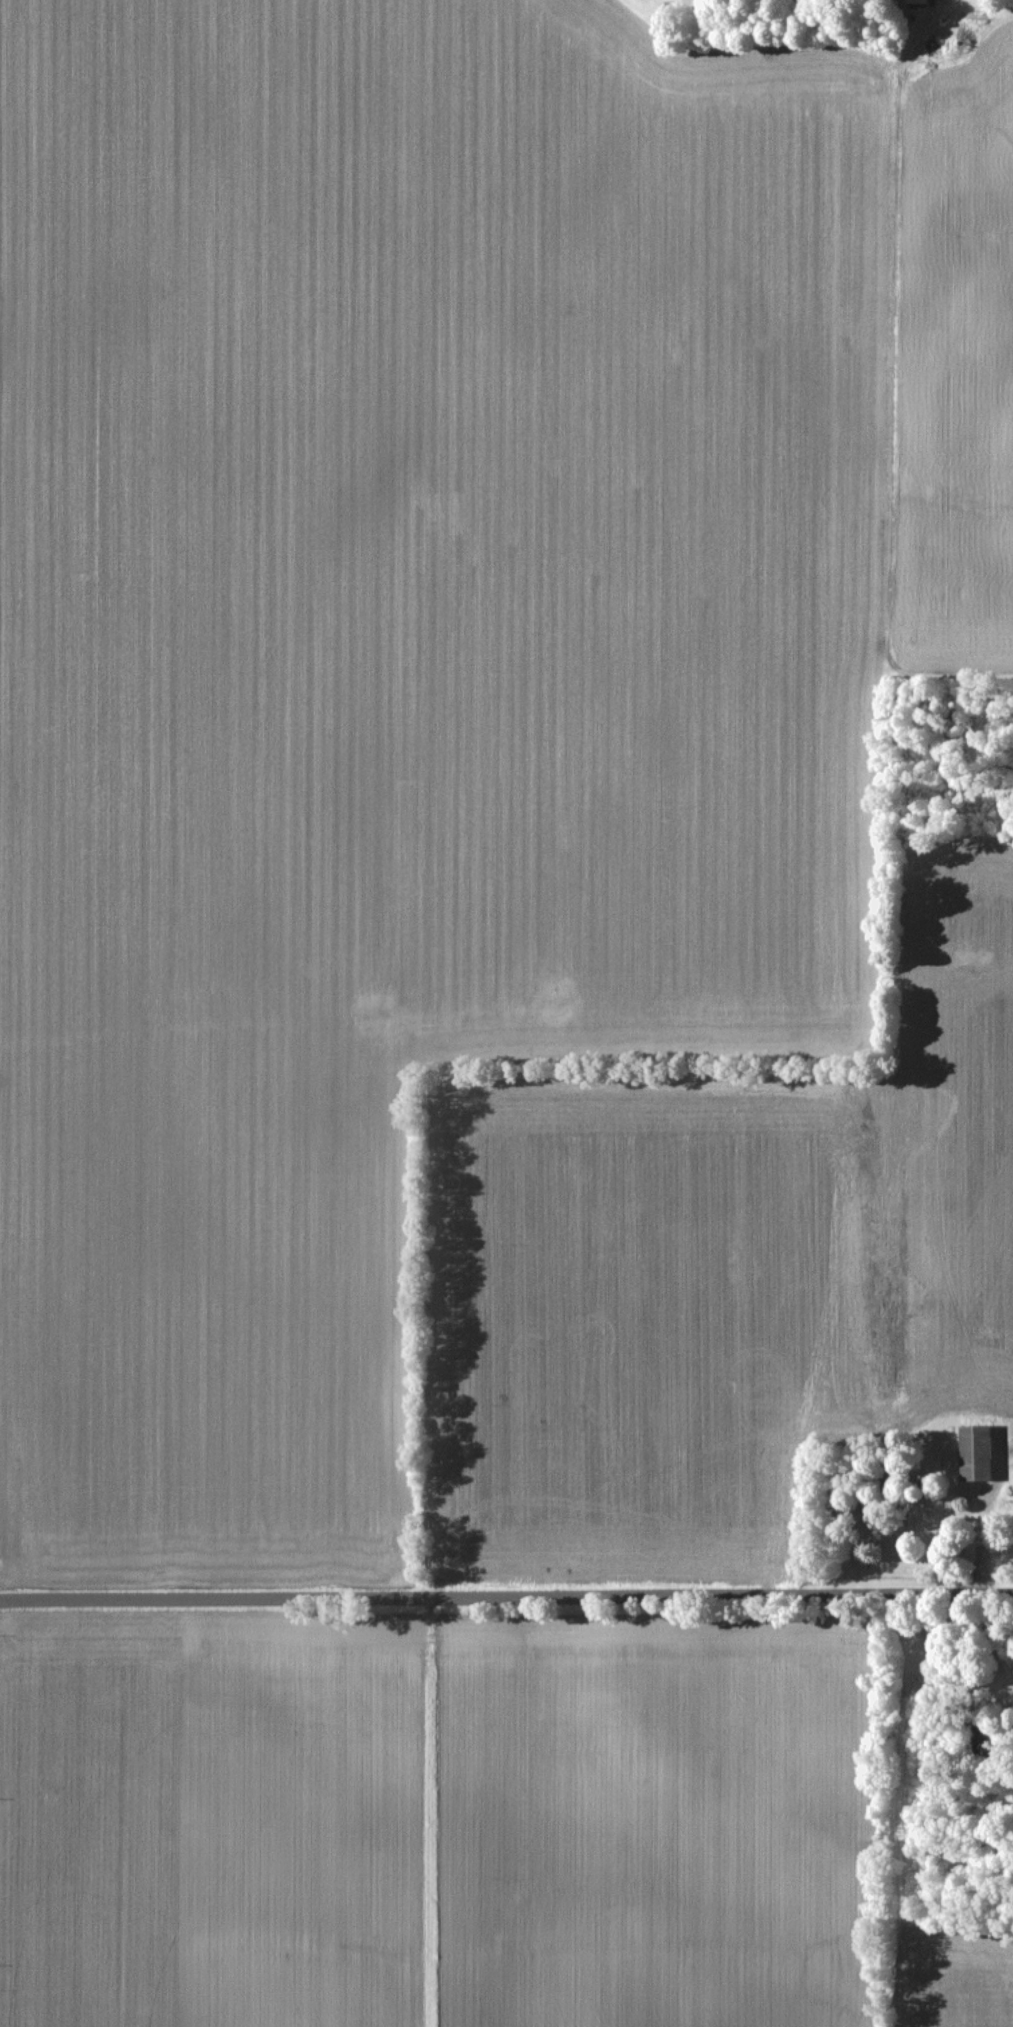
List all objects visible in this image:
building: (916, 1)
building: (972, 1453)
road: (506, 1598)

